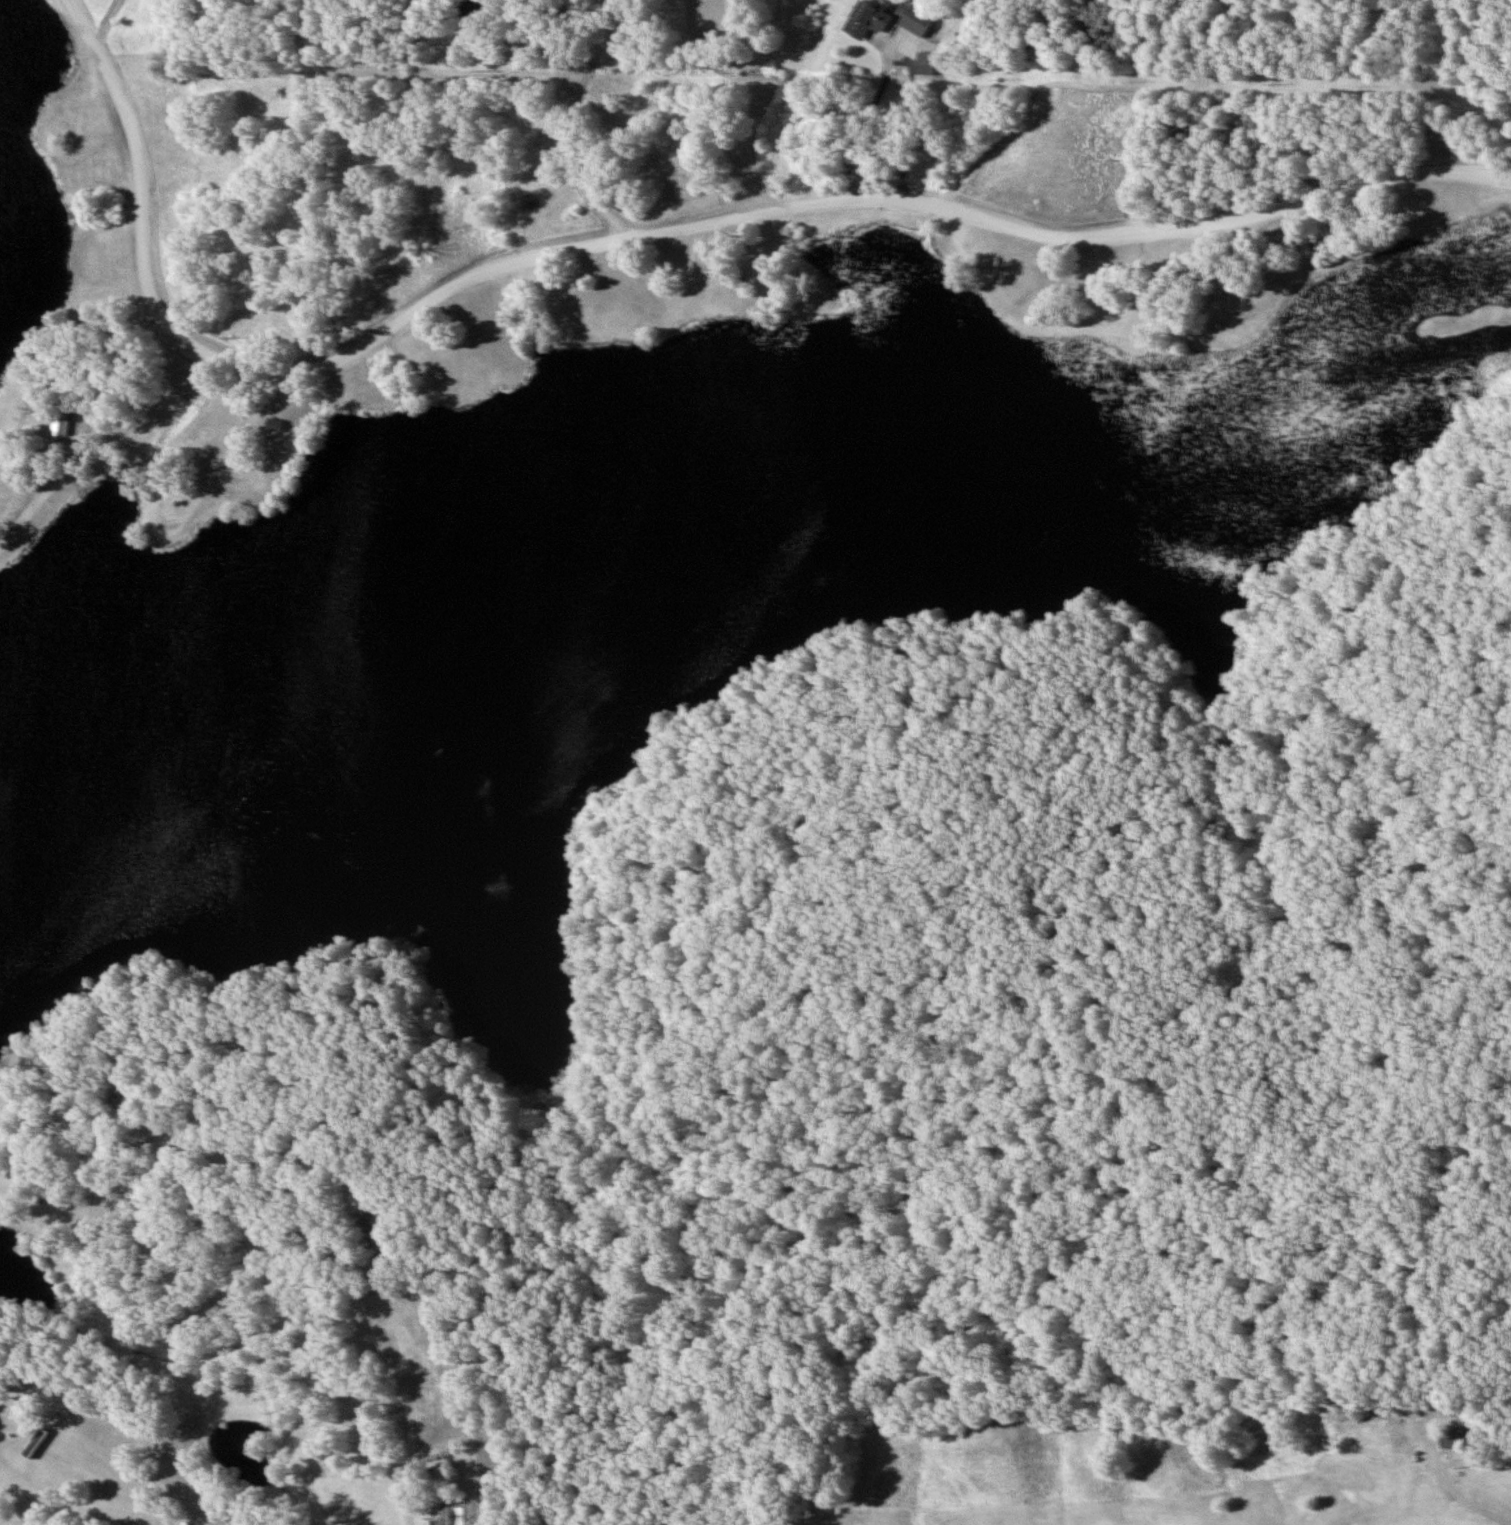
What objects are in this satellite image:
building: (867, 20)
building: (917, 20)
building: (925, 63)
road: (547, 102)
road: (652, 232)
road: (130, 342)
road: (100, 390)
building: (58, 424)
building: (274, 425)
park: (719, 707)
building: (1458, 1436)
building: (34, 1443)
building: (1465, 1459)
park: (1157, 1465)
building: (459, 1513)
road: (407, 1519)

